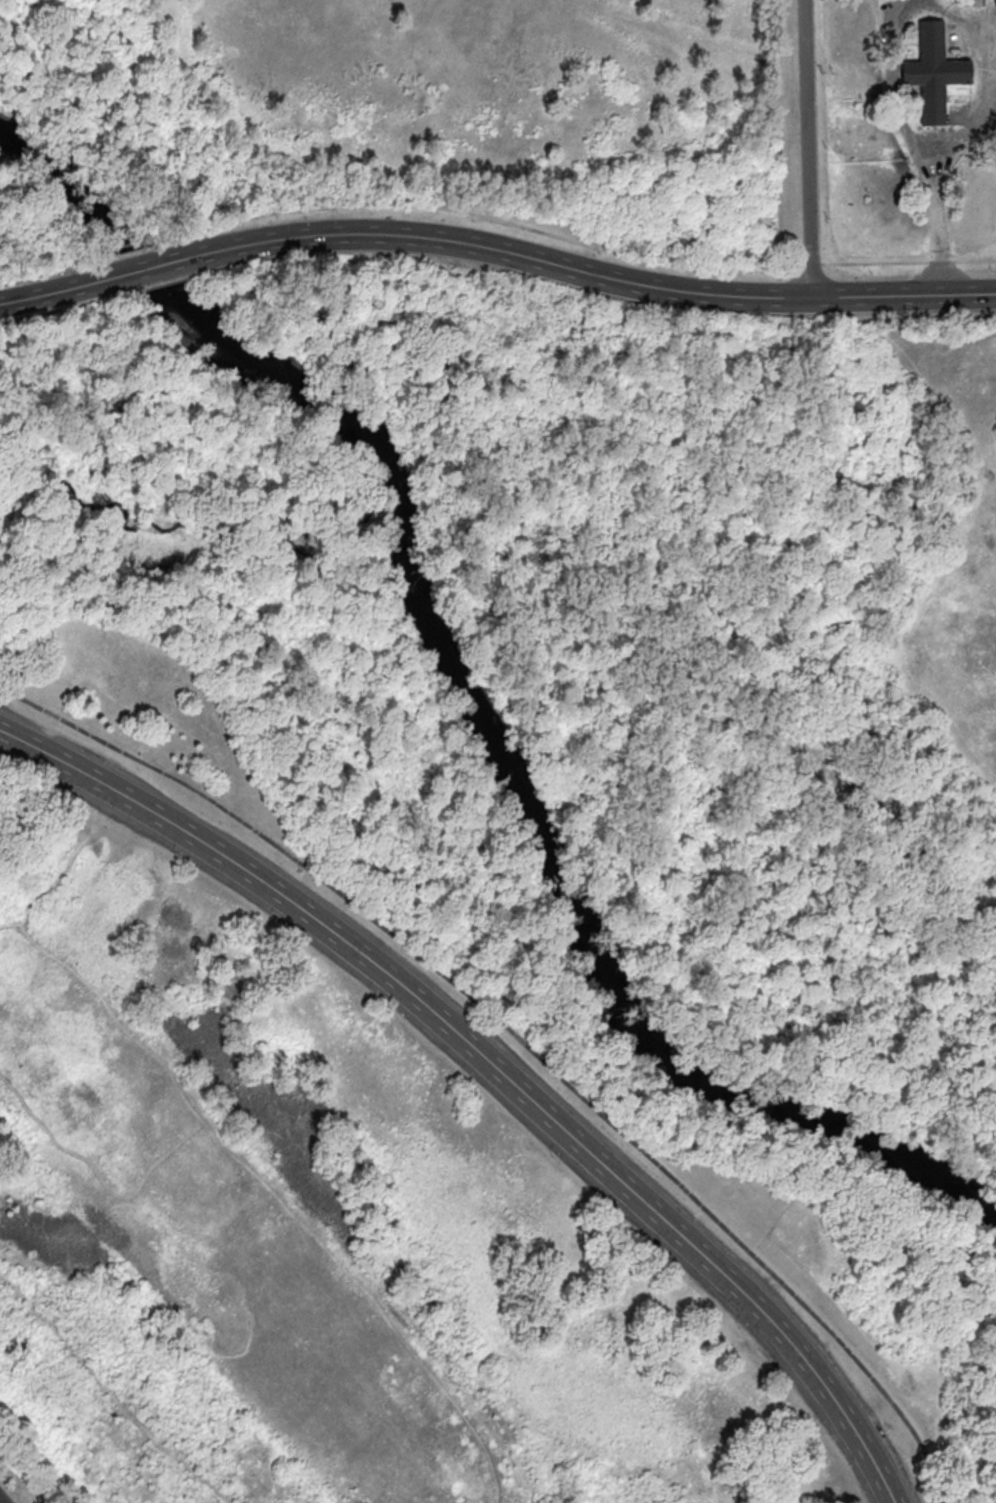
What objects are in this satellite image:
building: (931, 72)
road: (991, 81)
road: (994, 83)
park: (508, 121)
road: (915, 142)
road: (806, 148)
road: (576, 242)
road: (130, 253)
road: (144, 268)
road: (584, 272)
road: (49, 276)
road: (160, 284)
road: (56, 290)
road: (63, 309)
river: (201, 329)
road: (697, 369)
building: (548, 693)
street lamp: (174, 859)
road: (68, 861)
park: (495, 898)
street lamp: (271, 923)
river: (597, 957)
road: (509, 976)
street lamp: (370, 998)
road: (521, 1043)
road: (491, 1067)
street lamp: (463, 1078)
street lamp: (550, 1159)
road: (101, 1180)
road: (272, 1193)
street lamp: (643, 1241)
street lamp: (738, 1329)
road: (109, 1392)
street lamp: (816, 1426)

